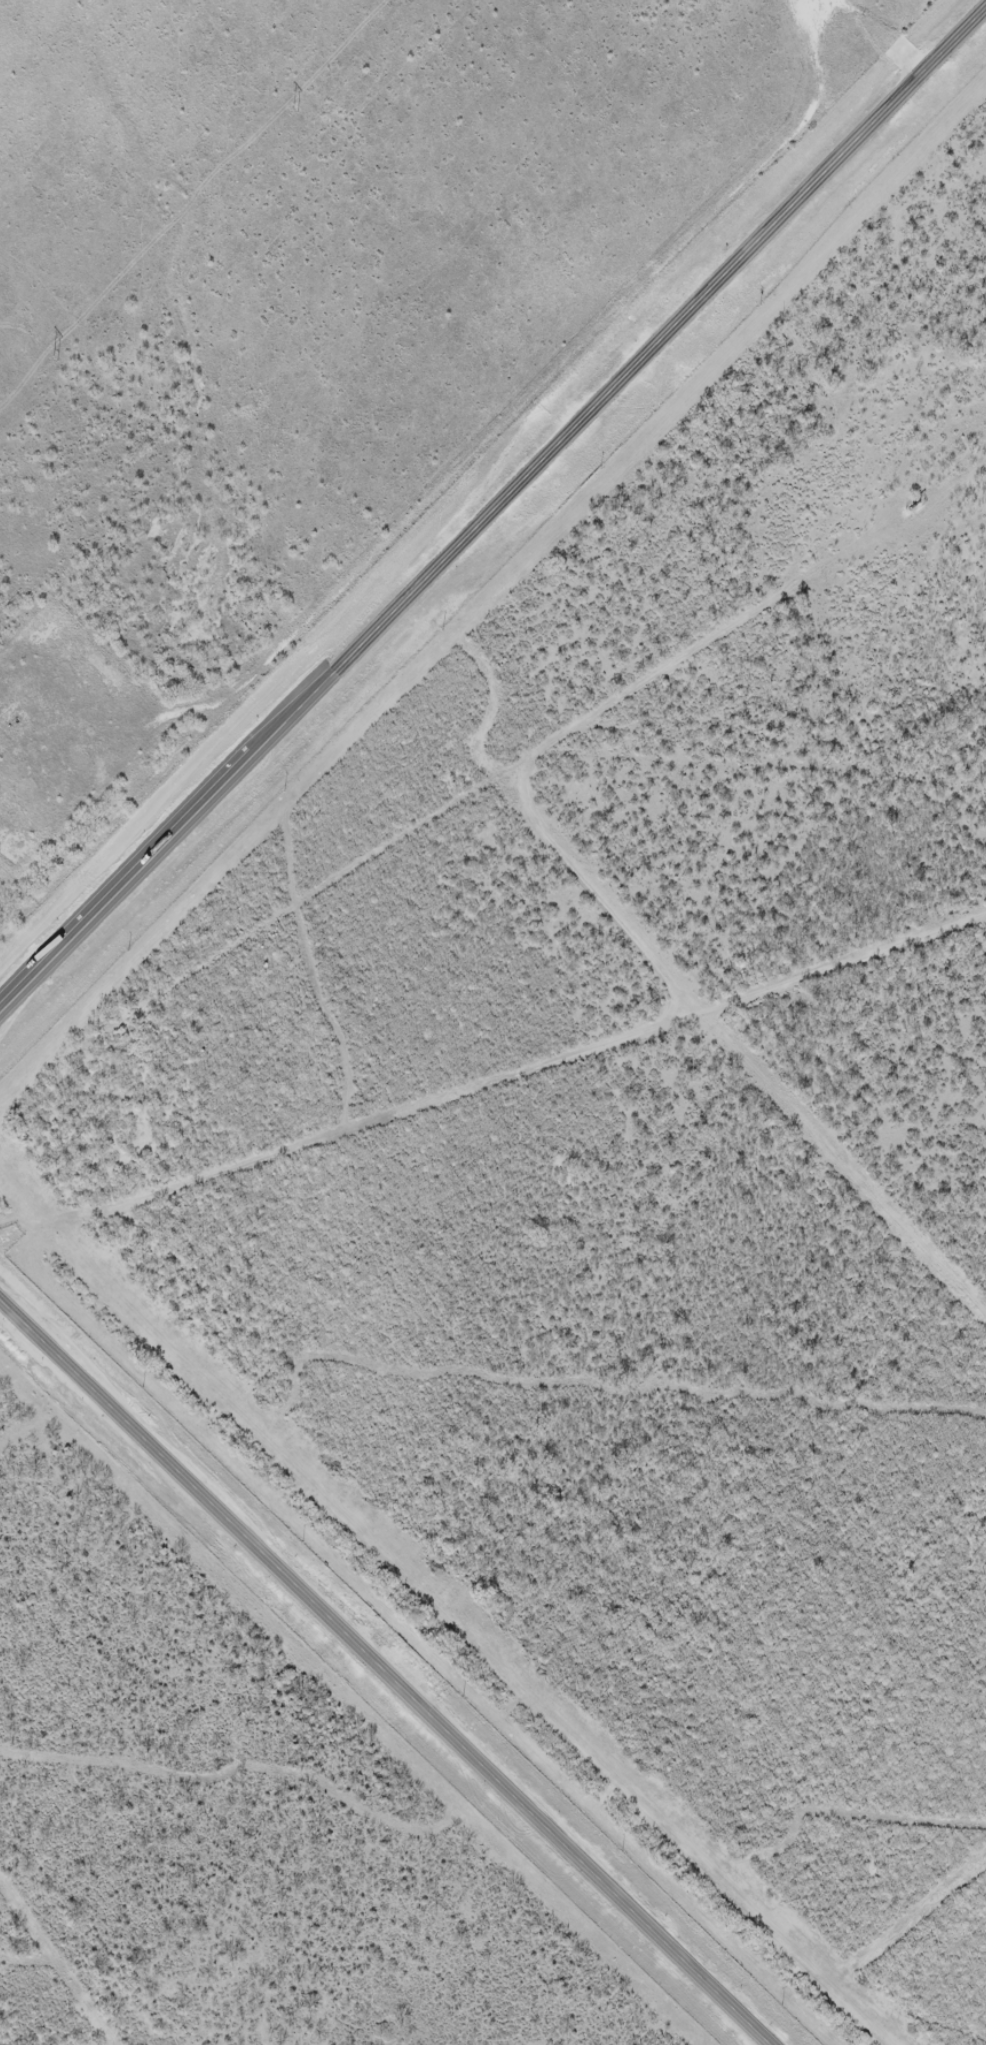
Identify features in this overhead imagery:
power tower: (299, 109)
power tower: (55, 359)
road: (491, 510)
road: (492, 1109)
road: (376, 1677)

